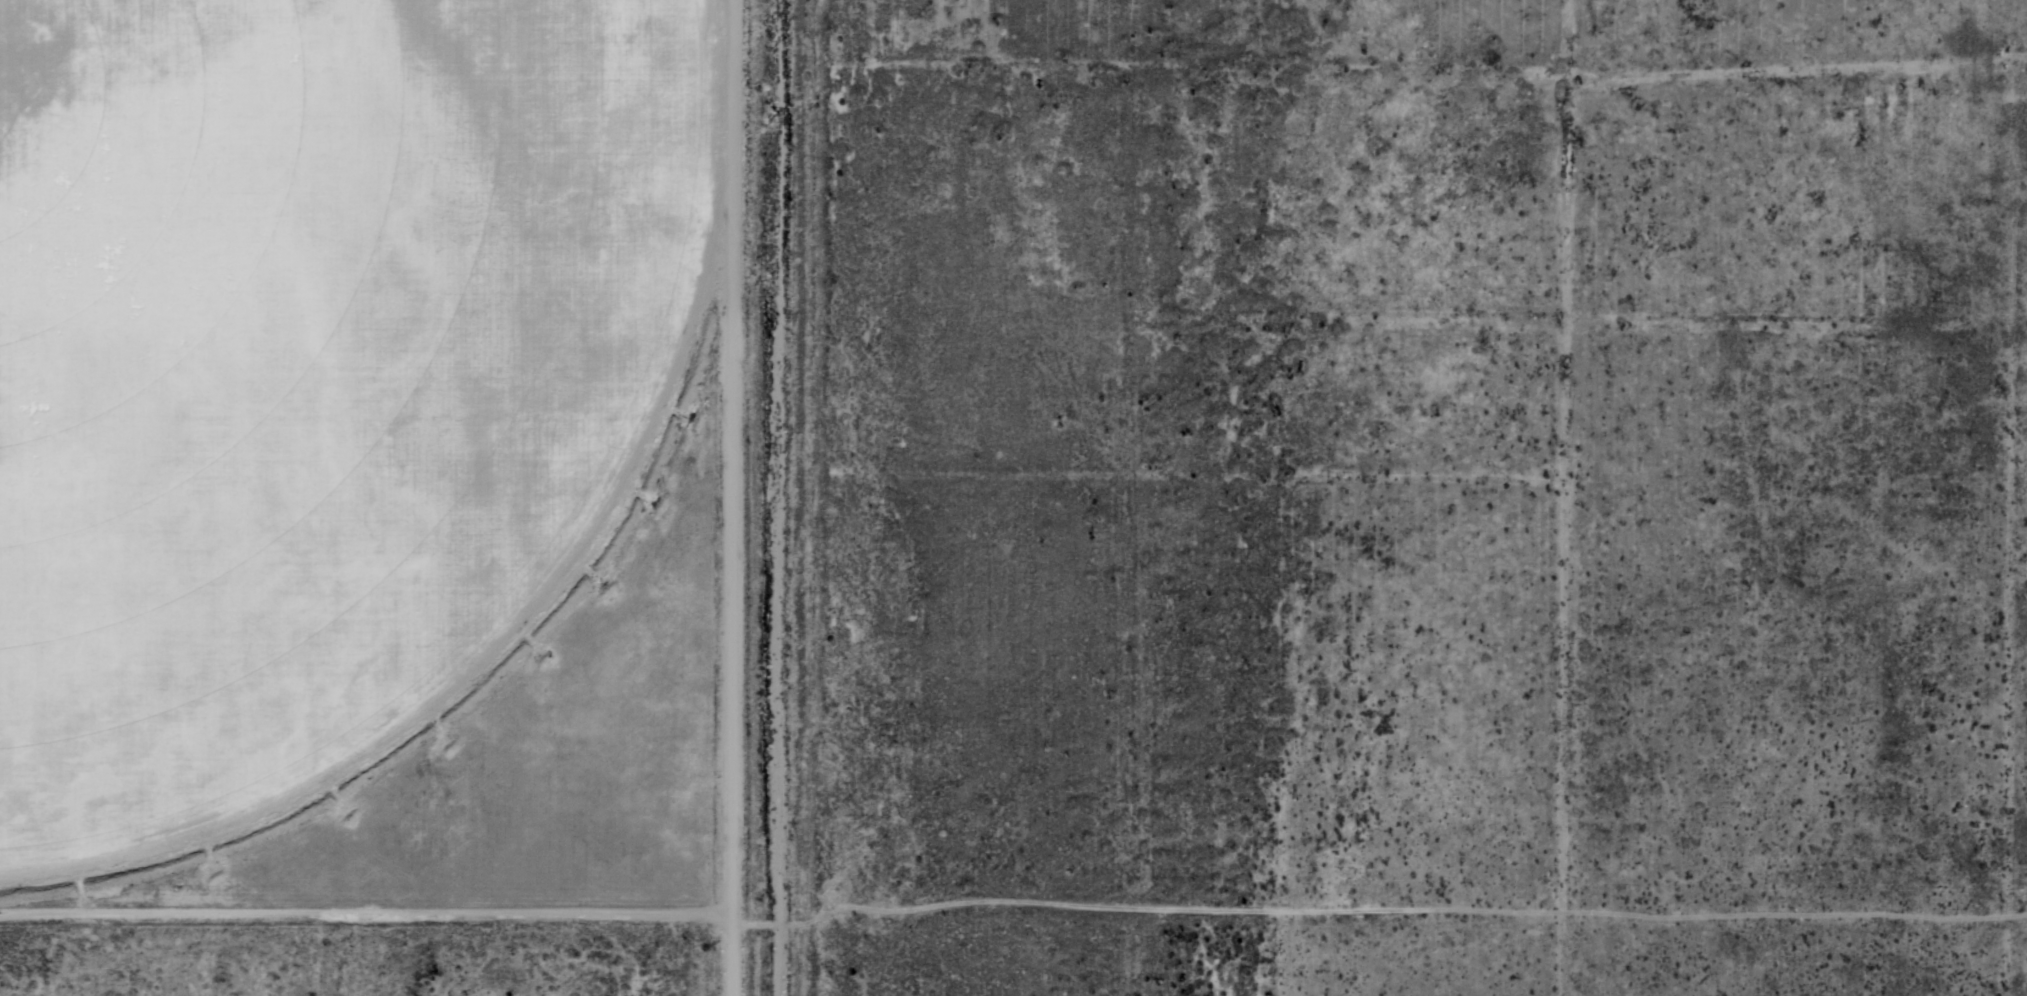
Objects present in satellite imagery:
crop: (359, 455)
road: (729, 497)

